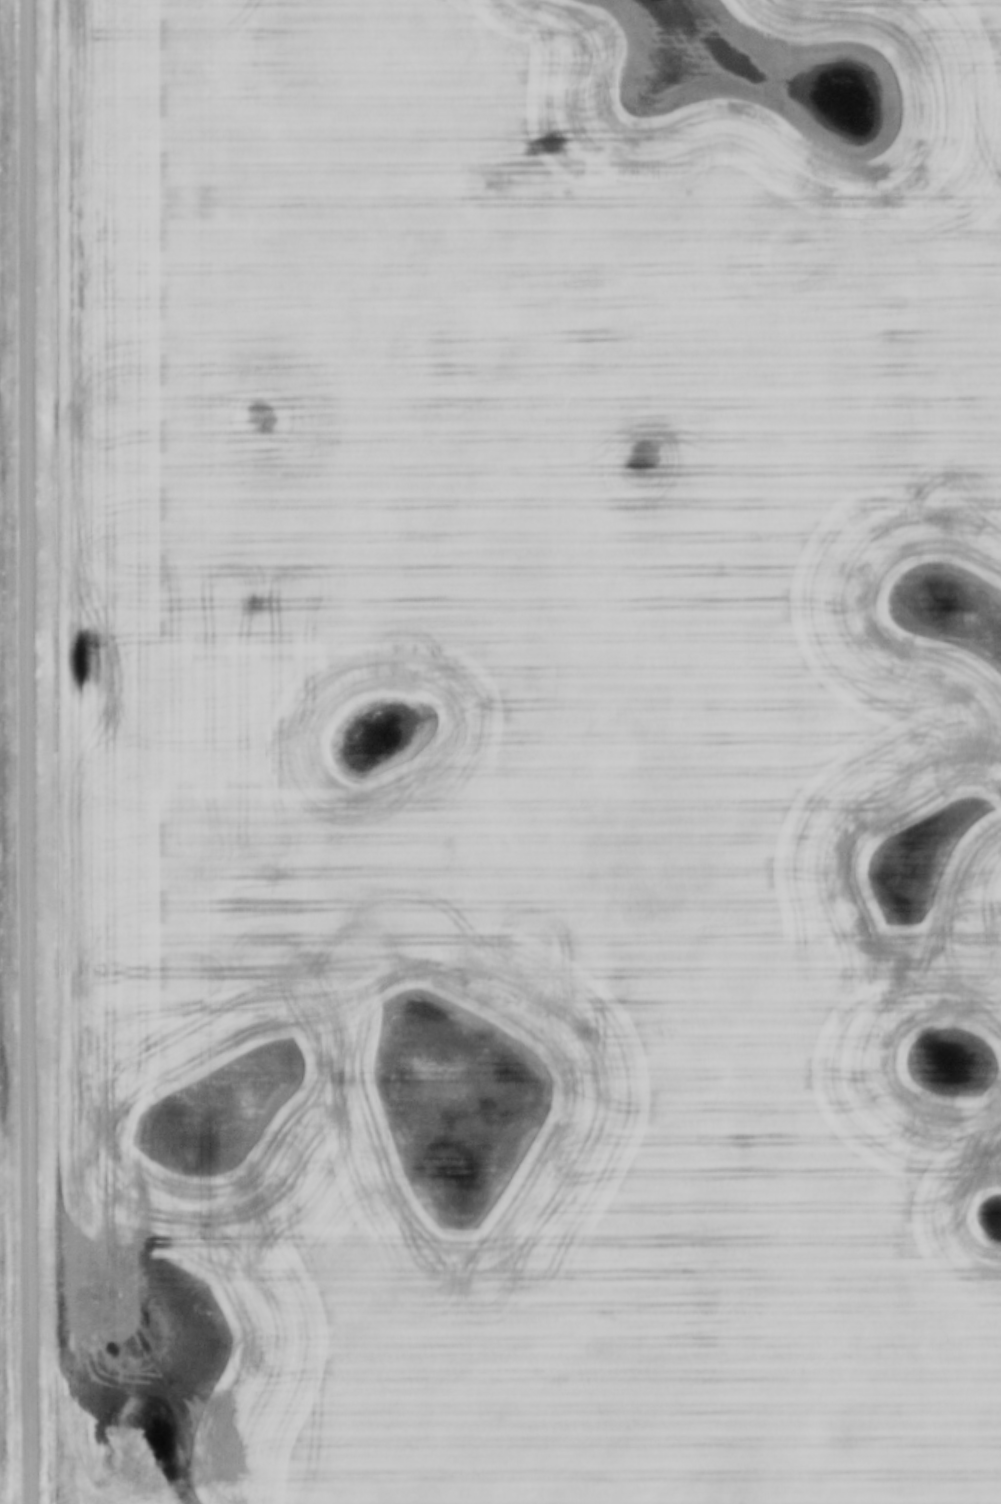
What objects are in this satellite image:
road: (28, 752)

